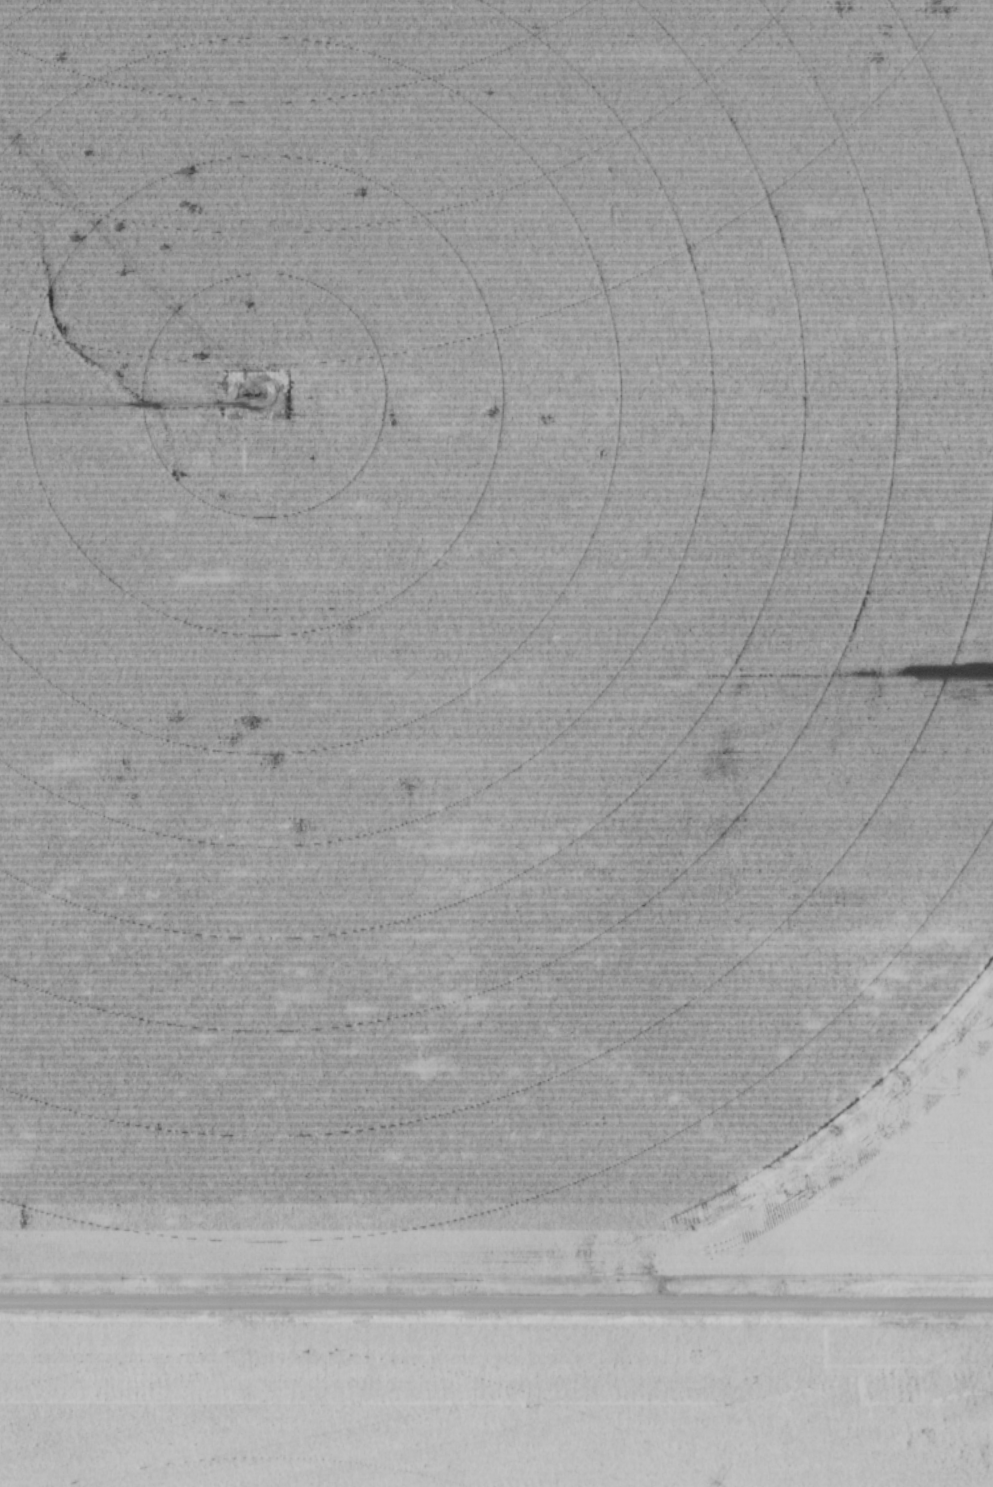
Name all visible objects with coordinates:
crop: (496, 636)
road: (496, 1304)

